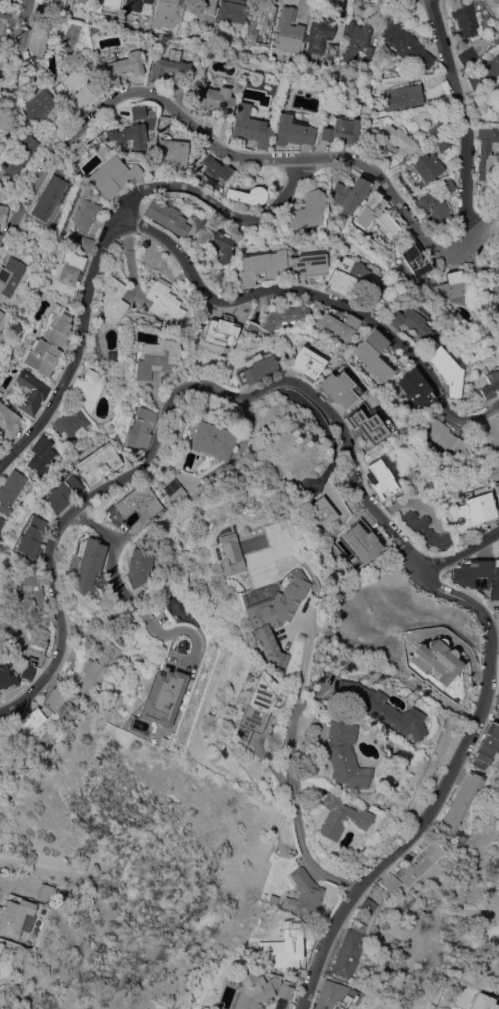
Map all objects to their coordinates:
building: (81, 1)
building: (492, 2)
building: (108, 3)
building: (135, 4)
building: (43, 8)
building: (203, 11)
building: (168, 12)
building: (231, 12)
building: (465, 18)
building: (2, 23)
building: (262, 23)
building: (288, 30)
road: (23, 34)
building: (318, 34)
building: (358, 42)
building: (37, 43)
building: (406, 44)
building: (332, 50)
building: (467, 56)
building: (119, 67)
building: (168, 67)
building: (483, 72)
building: (2, 74)
building: (75, 90)
building: (403, 96)
building: (214, 99)
building: (39, 106)
building: (137, 112)
building: (498, 116)
building: (162, 122)
road: (462, 123)
building: (250, 126)
building: (291, 131)
building: (341, 131)
building: (436, 131)
building: (128, 136)
building: (393, 136)
building: (444, 143)
road: (229, 152)
building: (487, 152)
building: (172, 153)
building: (18, 158)
building: (427, 166)
building: (216, 168)
building: (112, 176)
building: (1, 192)
building: (348, 193)
building: (248, 195)
building: (47, 197)
building: (436, 203)
road: (221, 210)
building: (307, 210)
building: (2, 212)
building: (376, 213)
building: (83, 215)
building: (171, 216)
building: (84, 244)
building: (222, 244)
building: (414, 259)
building: (306, 264)
building: (262, 266)
building: (497, 268)
building: (66, 272)
building: (474, 273)
building: (10, 275)
building: (346, 275)
building: (451, 286)
building: (497, 290)
road: (322, 295)
building: (369, 298)
building: (163, 299)
building: (112, 300)
building: (1, 314)
building: (285, 316)
building: (411, 320)
building: (0, 322)
building: (184, 326)
building: (337, 326)
building: (222, 329)
building: (251, 330)
building: (48, 342)
road: (76, 347)
building: (372, 355)
building: (155, 358)
building: (308, 360)
building: (256, 368)
building: (446, 369)
building: (491, 383)
building: (89, 387)
building: (339, 388)
building: (414, 388)
building: (29, 392)
road: (166, 413)
building: (71, 420)
building: (8, 421)
building: (370, 423)
building: (138, 428)
building: (442, 436)
building: (210, 440)
building: (41, 454)
building: (97, 463)
building: (380, 477)
building: (169, 487)
building: (10, 490)
building: (496, 491)
building: (60, 493)
building: (136, 500)
building: (469, 509)
building: (318, 512)
building: (1, 521)
building: (427, 530)
building: (28, 536)
building: (361, 539)
road: (111, 543)
building: (222, 552)
road: (459, 552)
building: (136, 563)
building: (88, 564)
building: (479, 575)
building: (30, 592)
building: (105, 601)
building: (271, 615)
building: (20, 634)
road: (494, 643)
building: (38, 646)
road: (295, 658)
building: (436, 659)
building: (98, 668)
building: (27, 672)
building: (8, 676)
building: (161, 696)
building: (57, 698)
building: (256, 705)
building: (379, 708)
building: (29, 719)
building: (487, 743)
building: (340, 753)
road: (439, 787)
building: (458, 801)
road: (293, 813)
building: (339, 817)
building: (411, 866)
road: (0, 880)
building: (45, 891)
building: (306, 894)
building: (271, 900)
building: (366, 905)
building: (16, 916)
building: (346, 953)
building: (291, 961)
building: (253, 989)
building: (285, 991)
building: (331, 995)
building: (482, 1002)

